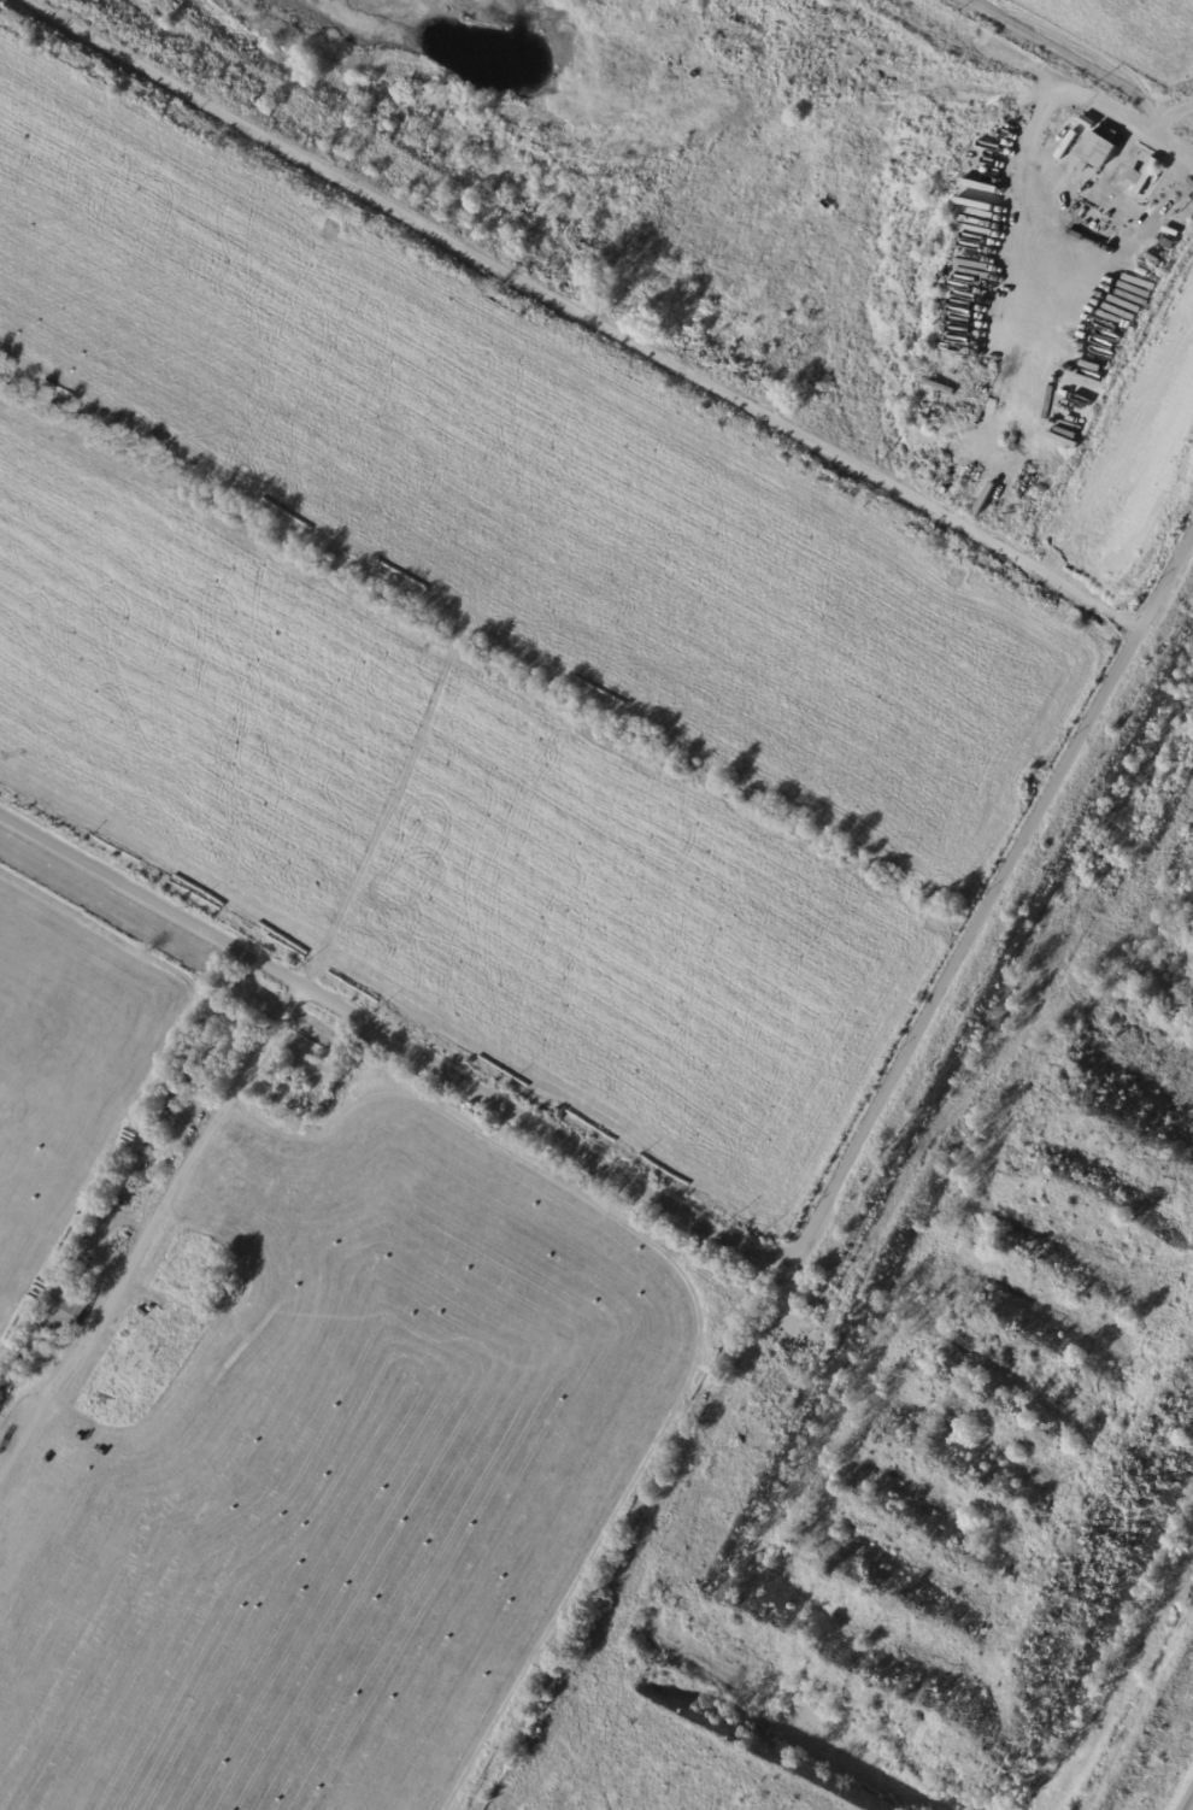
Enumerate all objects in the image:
road: (1052, 80)
road: (1160, 111)
building: (1088, 122)
building: (1095, 148)
building: (1140, 174)
road: (1052, 249)
road: (583, 311)
crop: (440, 939)
road: (325, 942)
crop: (70, 1083)
building: (170, 1104)
road: (760, 1248)
building: (64, 1310)

